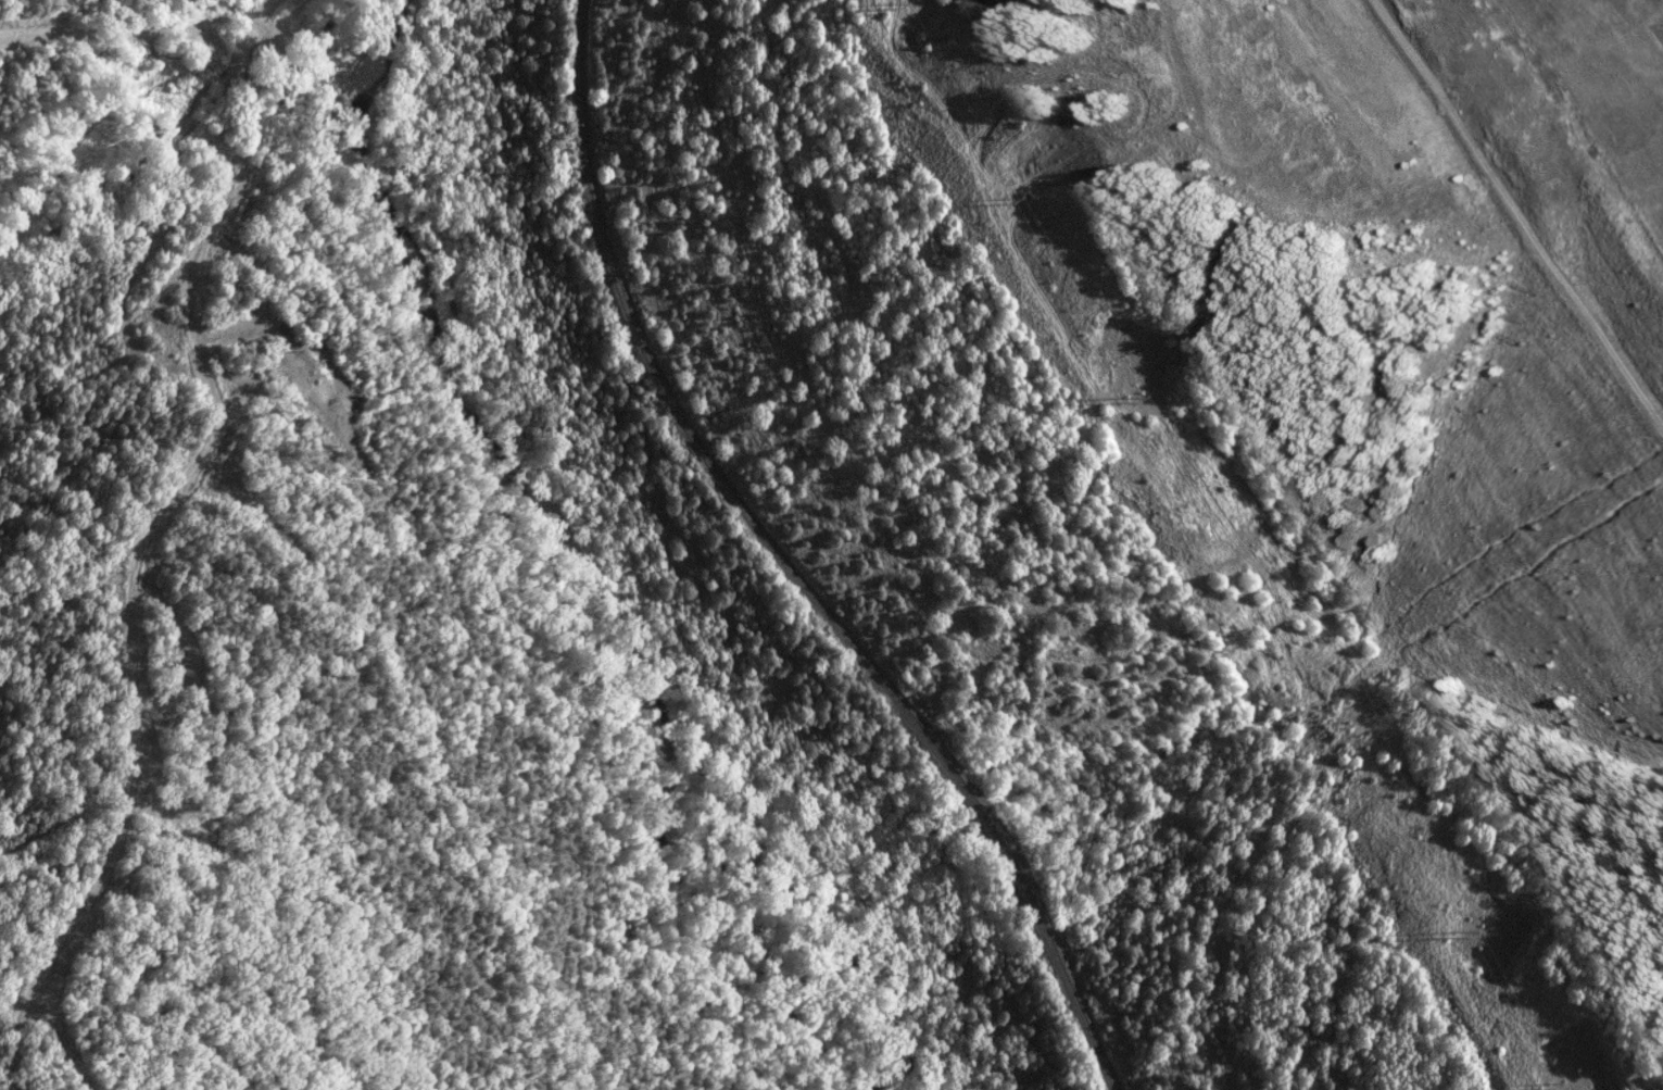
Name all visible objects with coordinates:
power tower: (877, 15)
power tower: (1121, 401)
airport: (1400, 405)
road: (202, 461)
railway: (785, 566)
power tower: (1452, 941)

